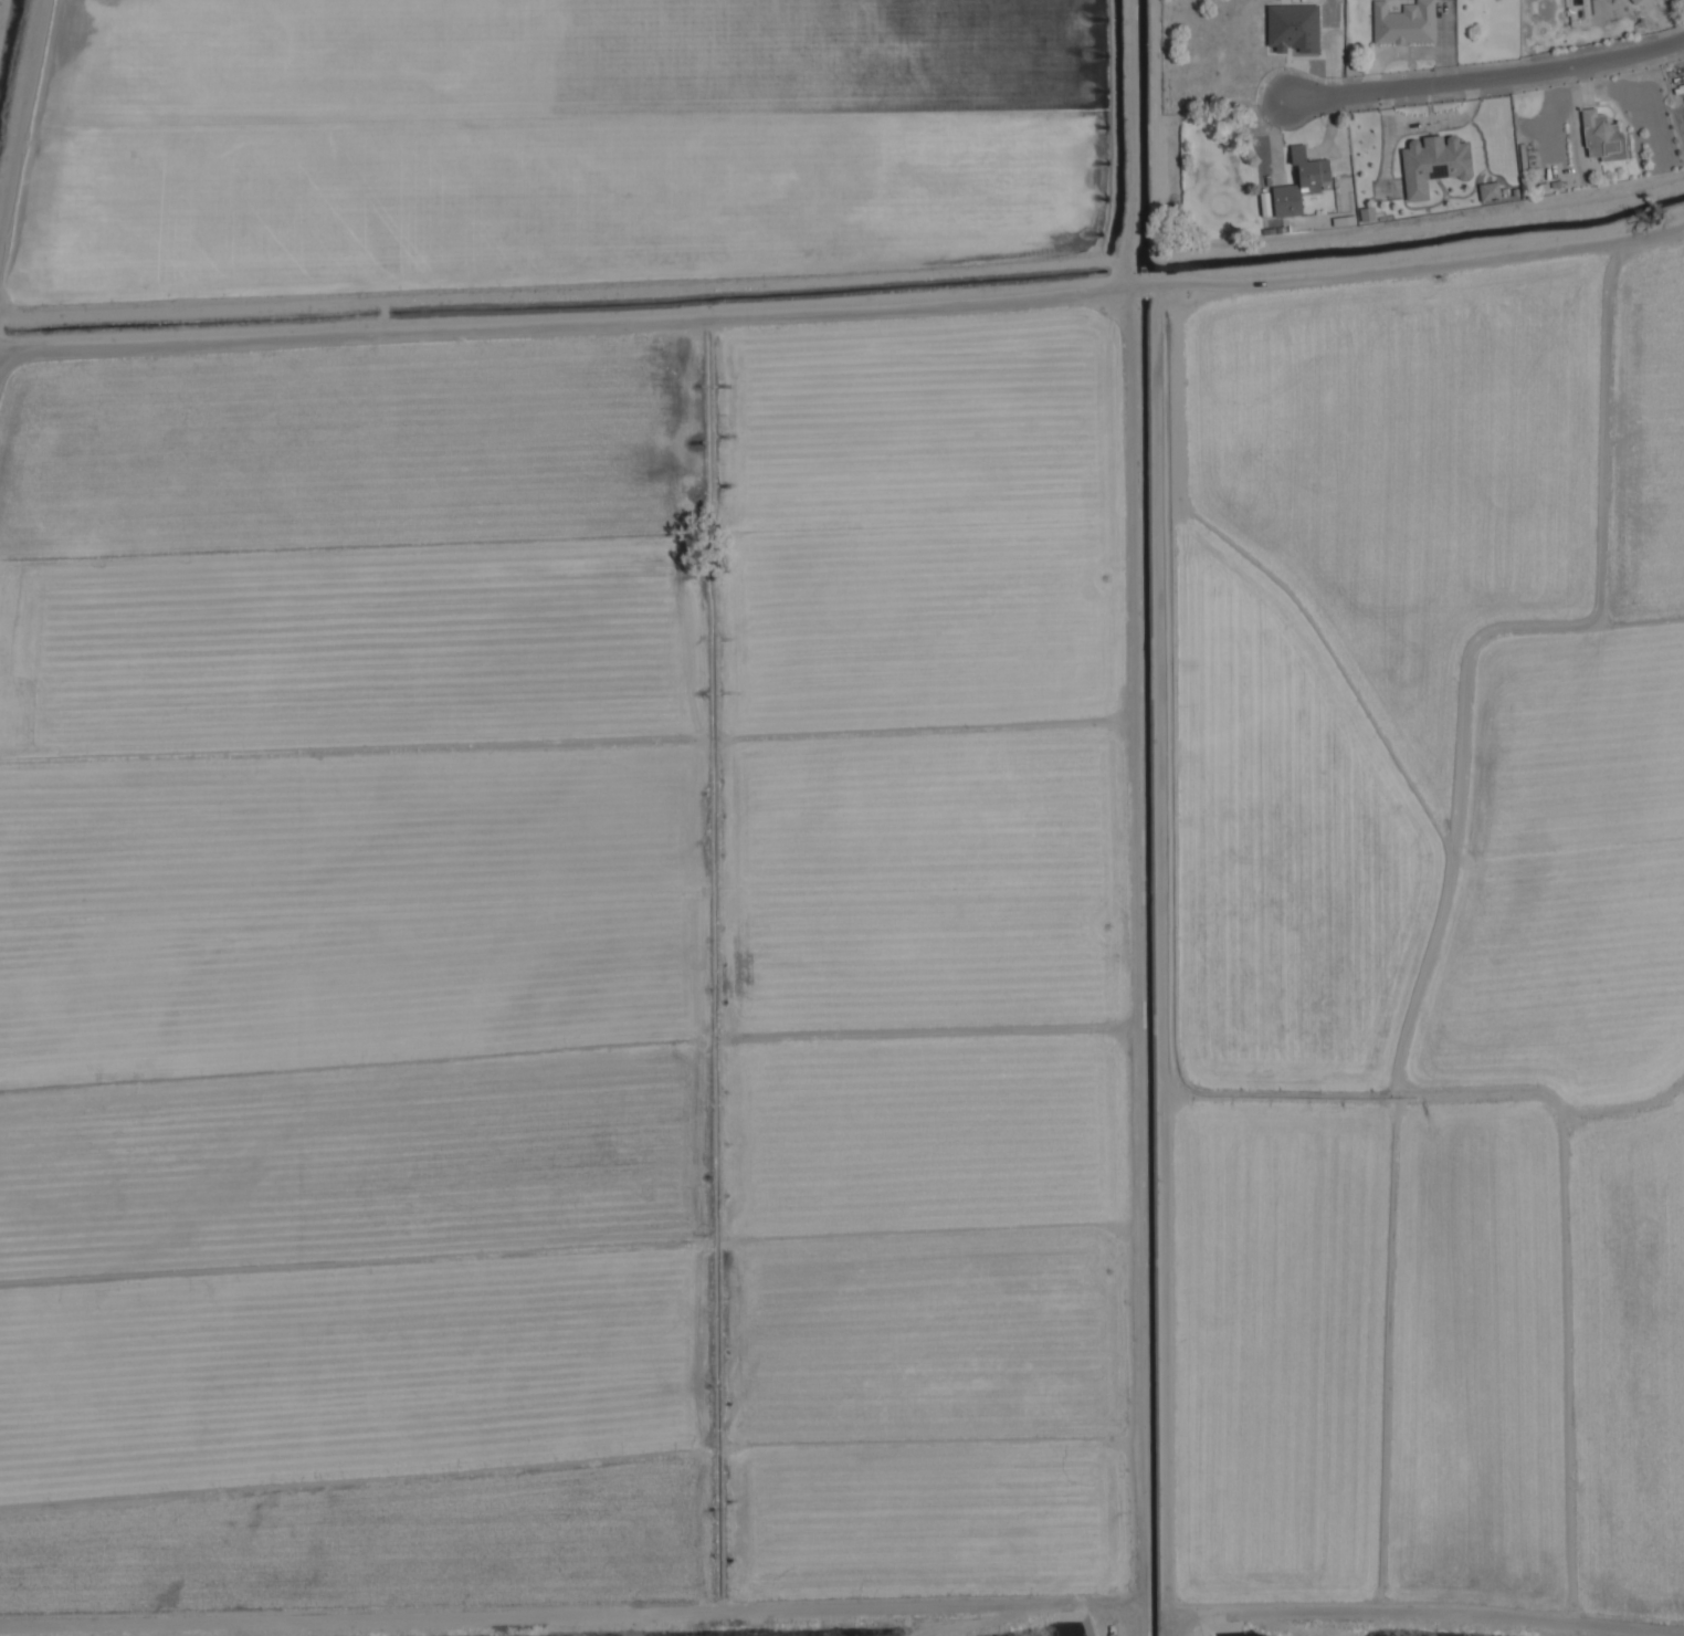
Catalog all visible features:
building: (1633, 0)
building: (1404, 22)
building: (1293, 27)
road: (1495, 74)
building: (1602, 135)
crop: (550, 140)
building: (1433, 161)
building: (1301, 181)
building: (1490, 189)
building: (1367, 213)
road: (842, 308)
crop: (1415, 903)
crop: (564, 968)
crop: (1627, 1368)

